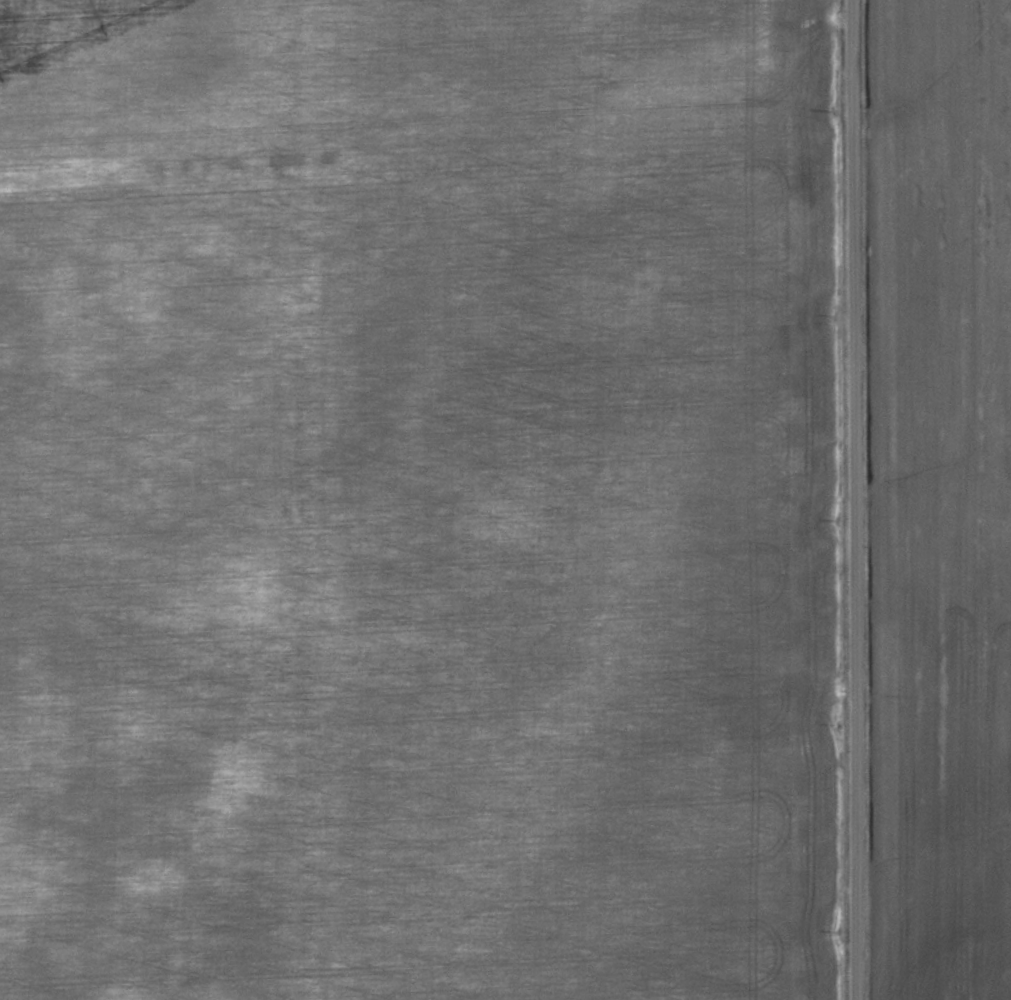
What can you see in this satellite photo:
road: (855, 500)

